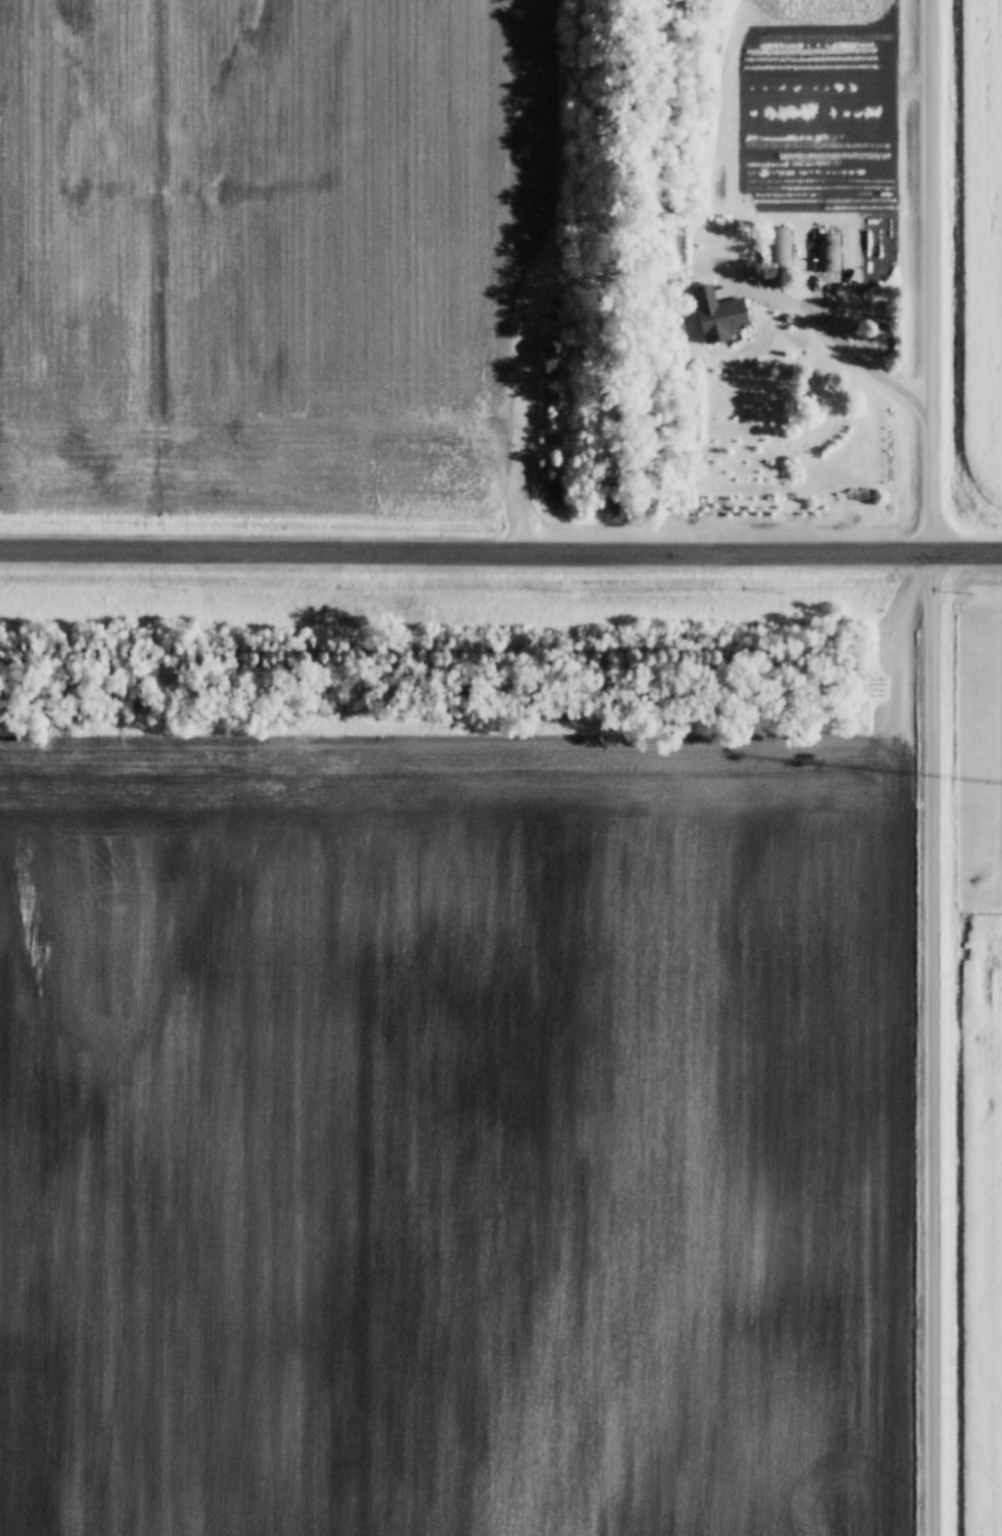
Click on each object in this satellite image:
building: (772, 249)
building: (824, 254)
building: (709, 315)
building: (548, 351)
silo: (548, 351)
road: (856, 360)
road: (510, 391)
road: (500, 551)
road: (931, 767)

